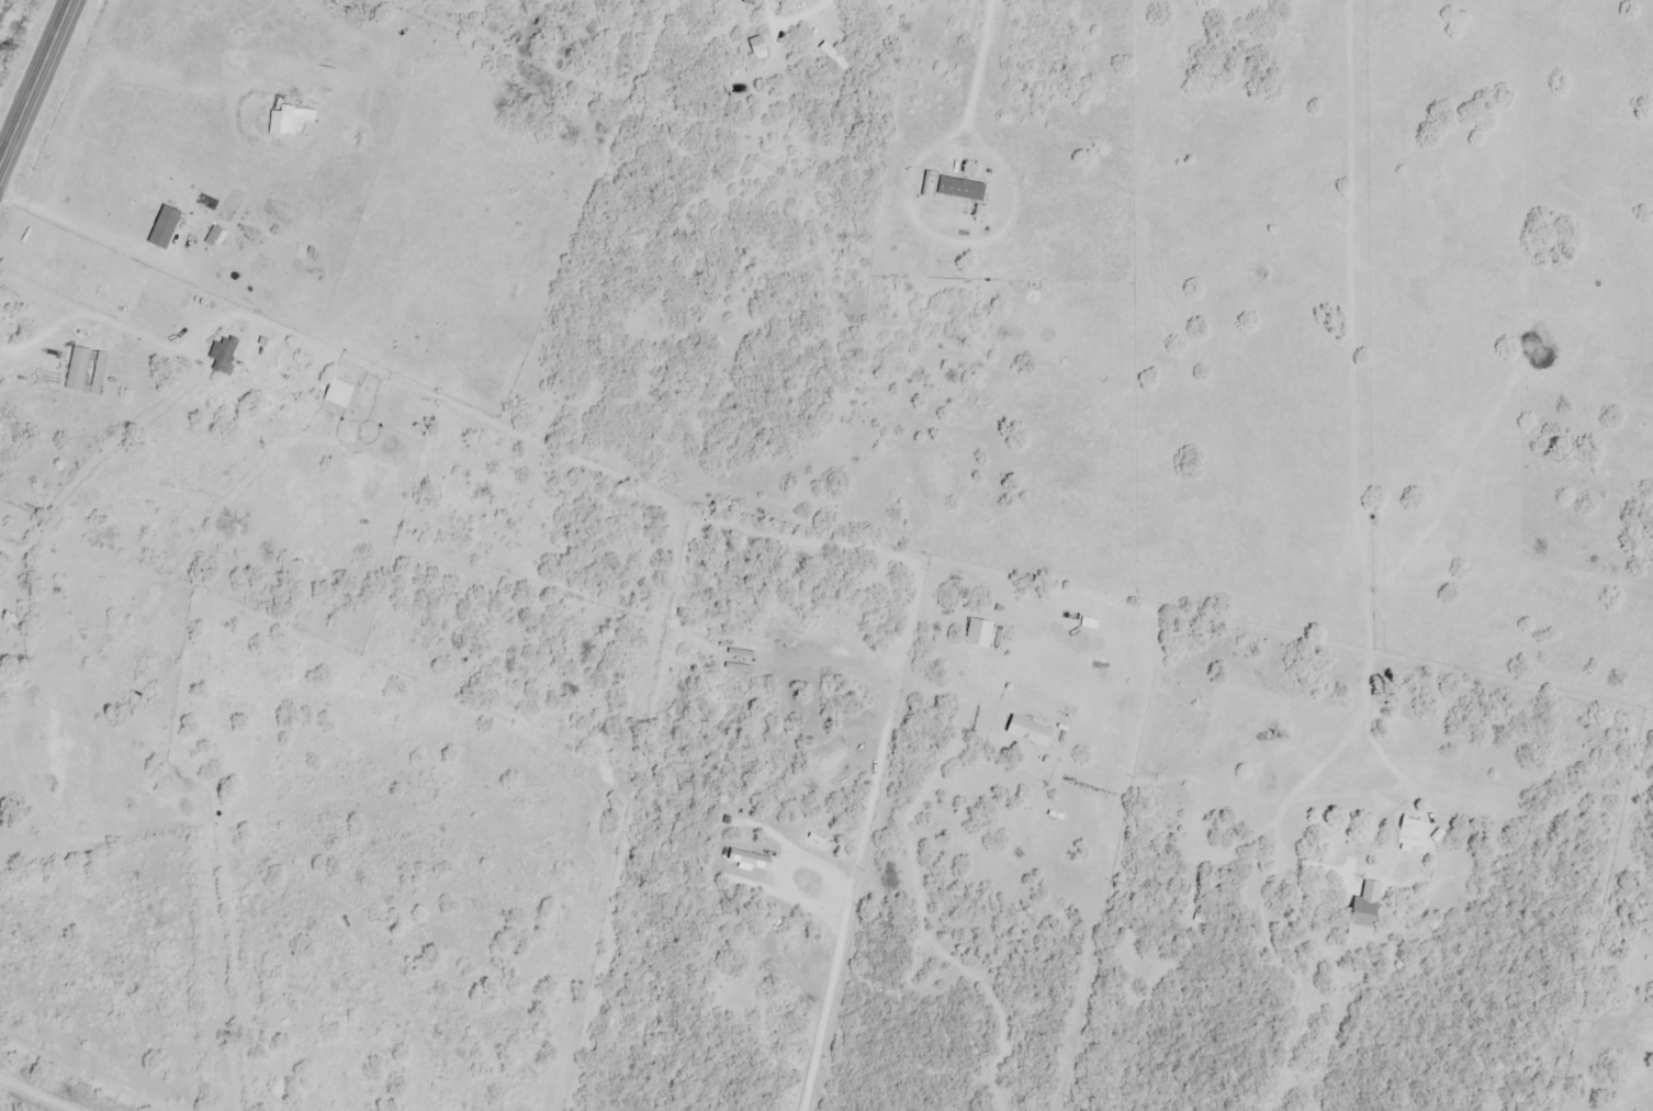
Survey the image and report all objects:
road: (35, 80)
building: (953, 189)
building: (223, 357)
building: (286, 374)
building: (338, 394)
building: (979, 632)
building: (1030, 731)
building: (1413, 835)
building: (739, 862)
building: (1363, 912)
road: (46, 1090)

